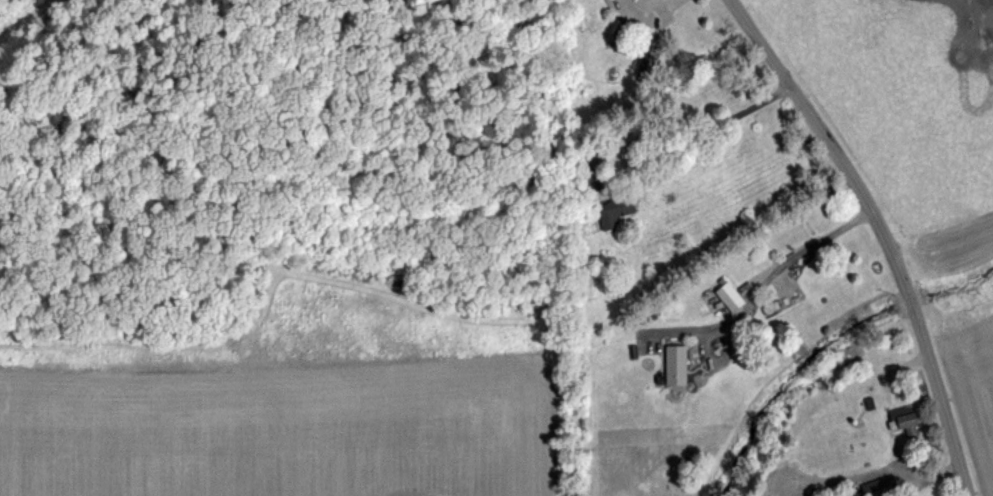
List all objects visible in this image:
road: (700, 130)
crop: (925, 134)
building: (610, 207)
road: (883, 232)
crop: (281, 248)
road: (782, 262)
building: (725, 294)
building: (766, 306)
building: (671, 362)
building: (865, 401)
building: (901, 415)
building: (875, 484)
road: (963, 493)

